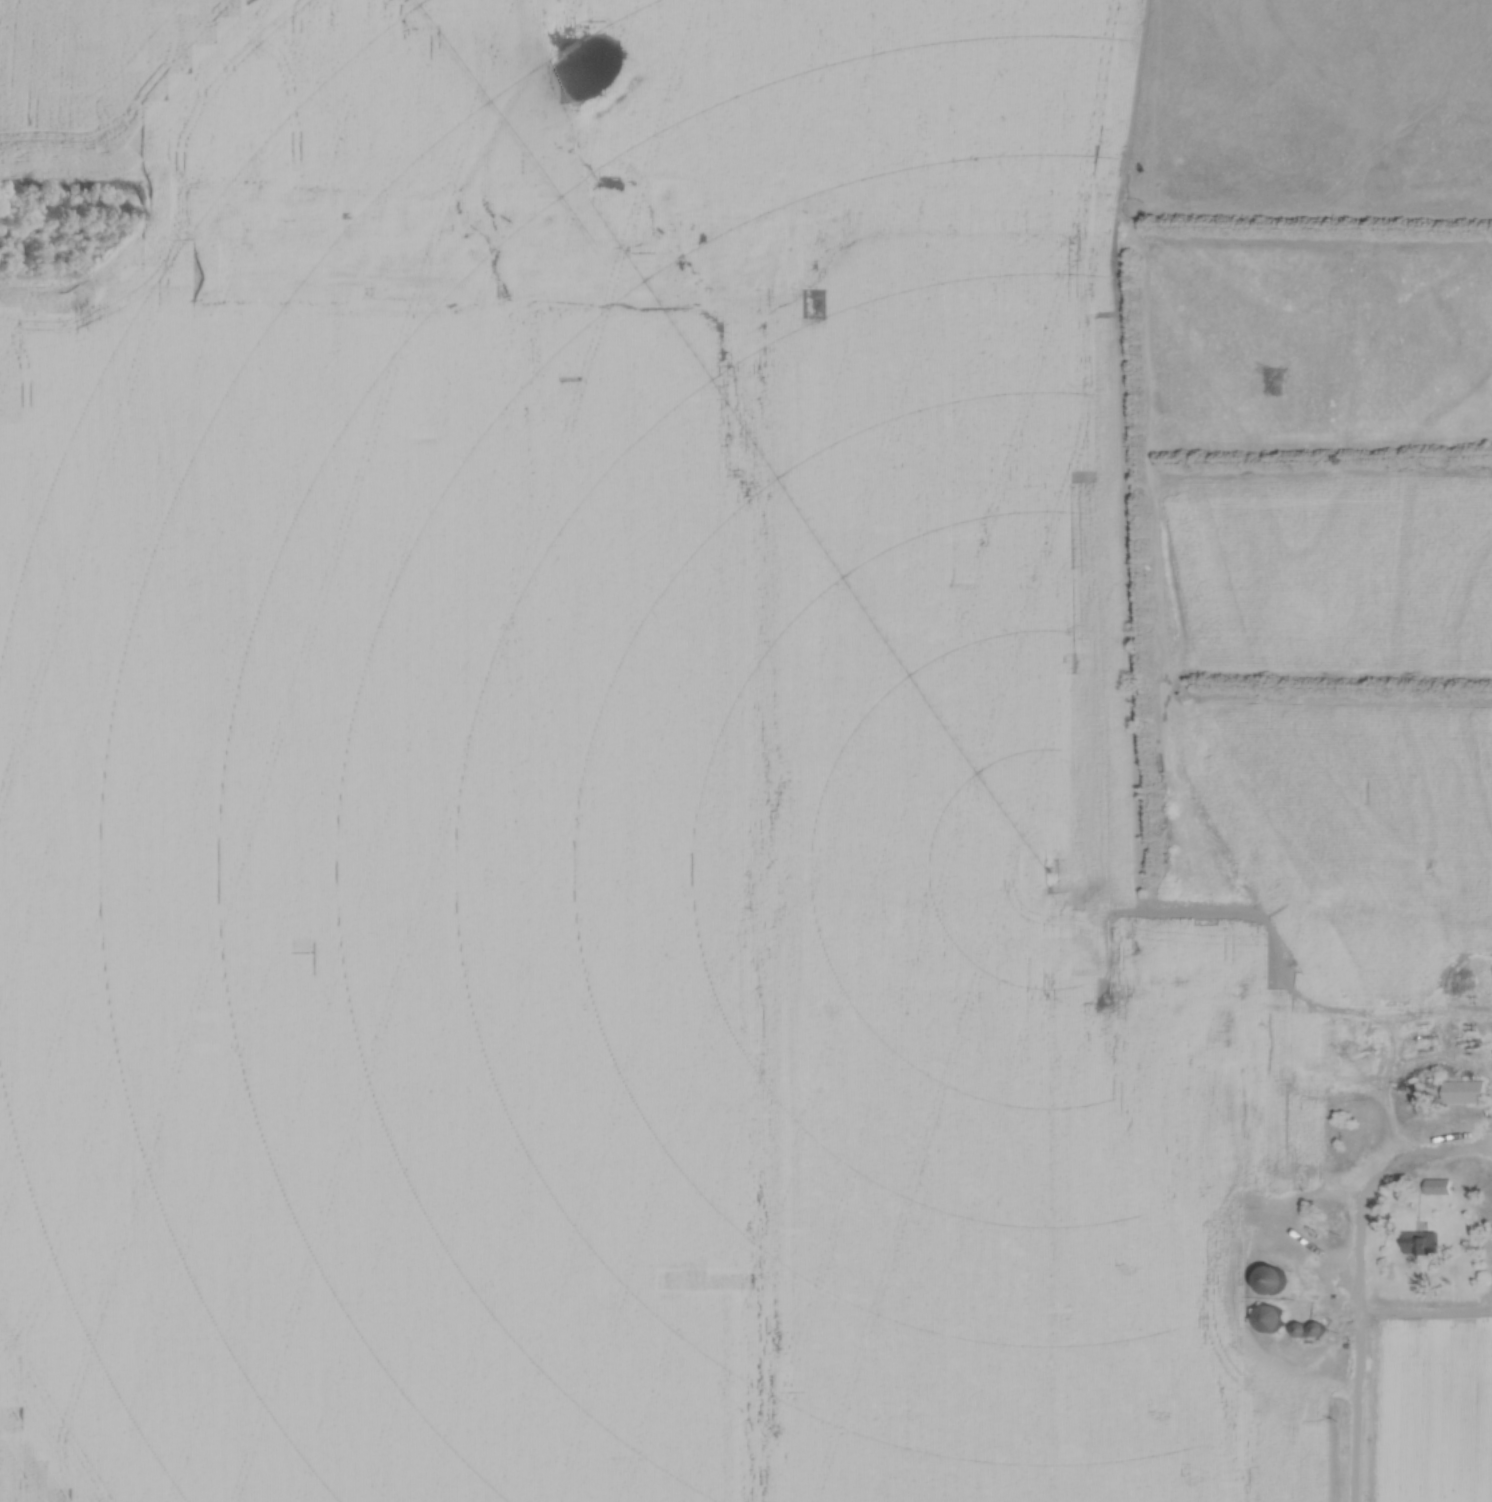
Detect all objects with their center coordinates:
building: (1465, 1095)
building: (1438, 1189)
building: (1420, 1245)
building: (1270, 1282)
building: (1307, 1300)
road: (1357, 1311)
building: (1269, 1322)
building: (1315, 1333)

